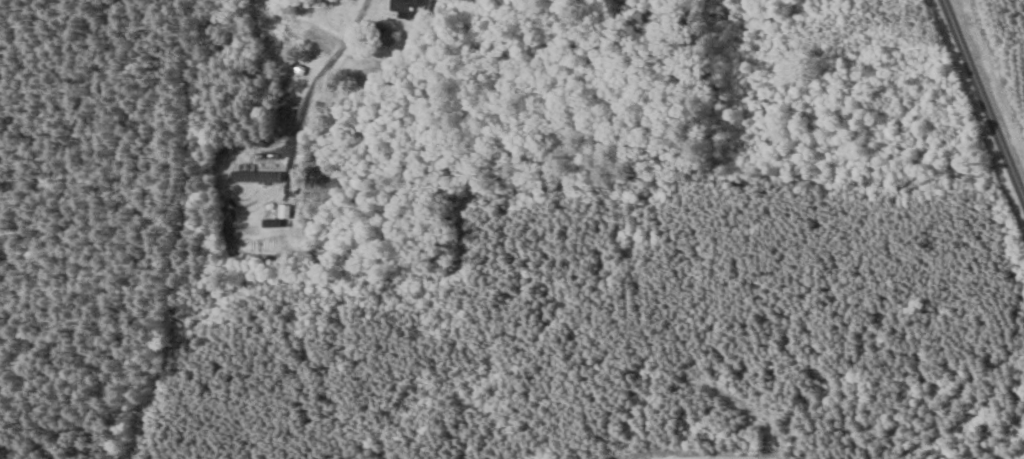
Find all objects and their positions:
road: (987, 92)

